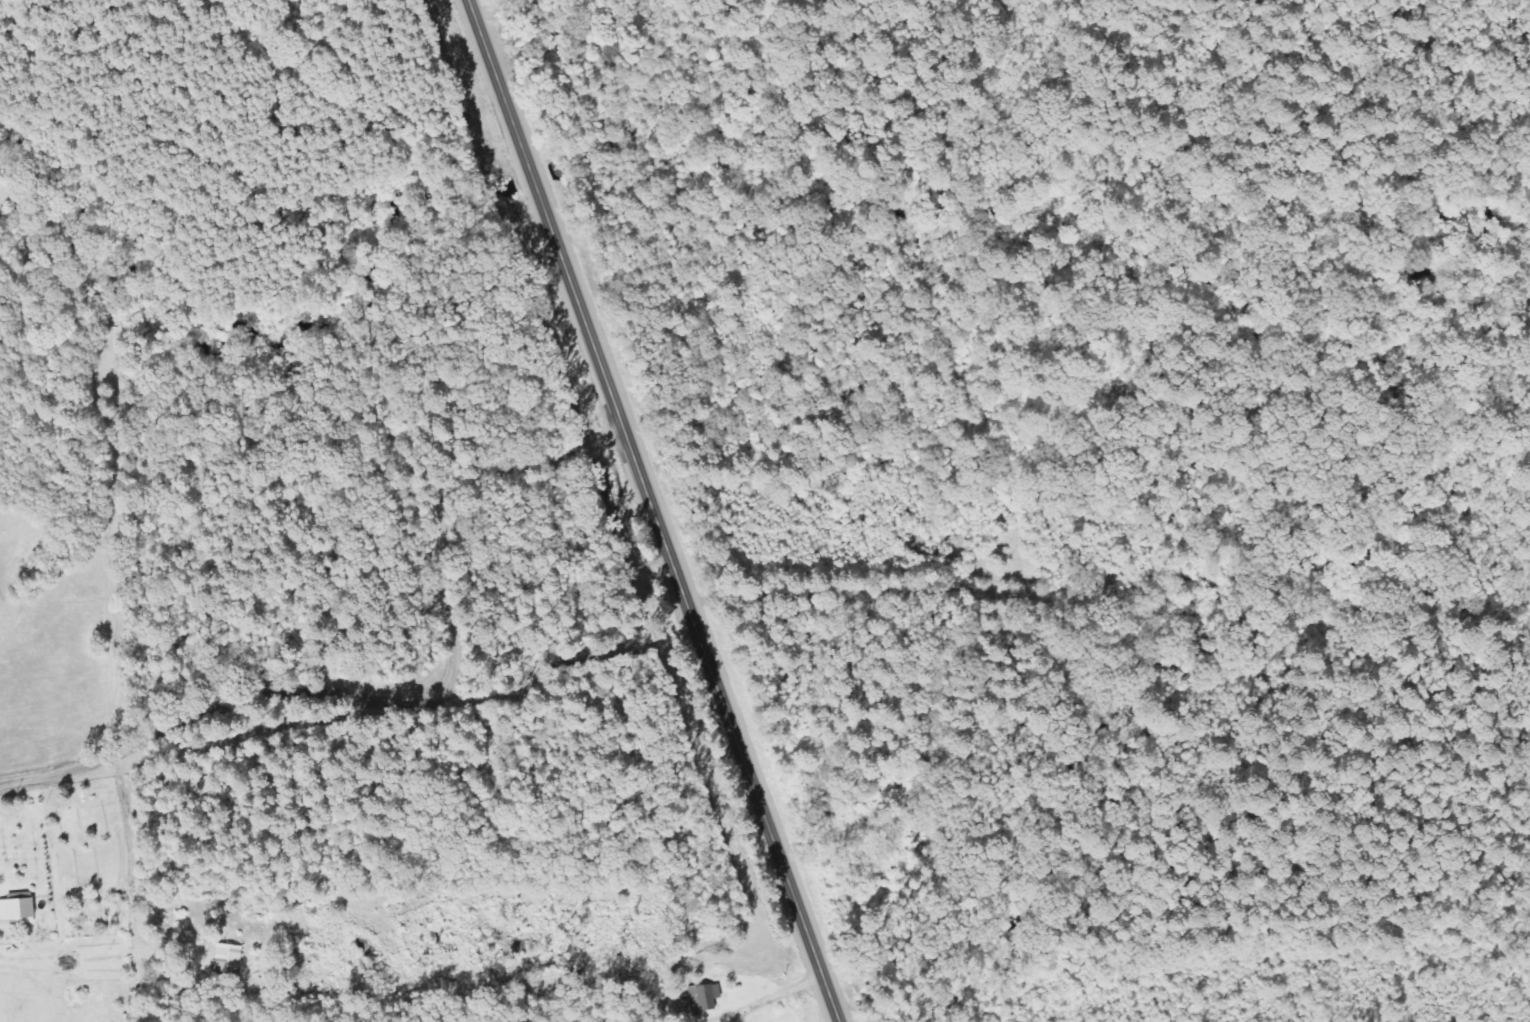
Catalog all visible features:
road: (471, 3)
road: (573, 295)
road: (876, 598)
road: (395, 720)
road: (755, 806)
building: (22, 907)
building: (232, 960)
building: (709, 998)

